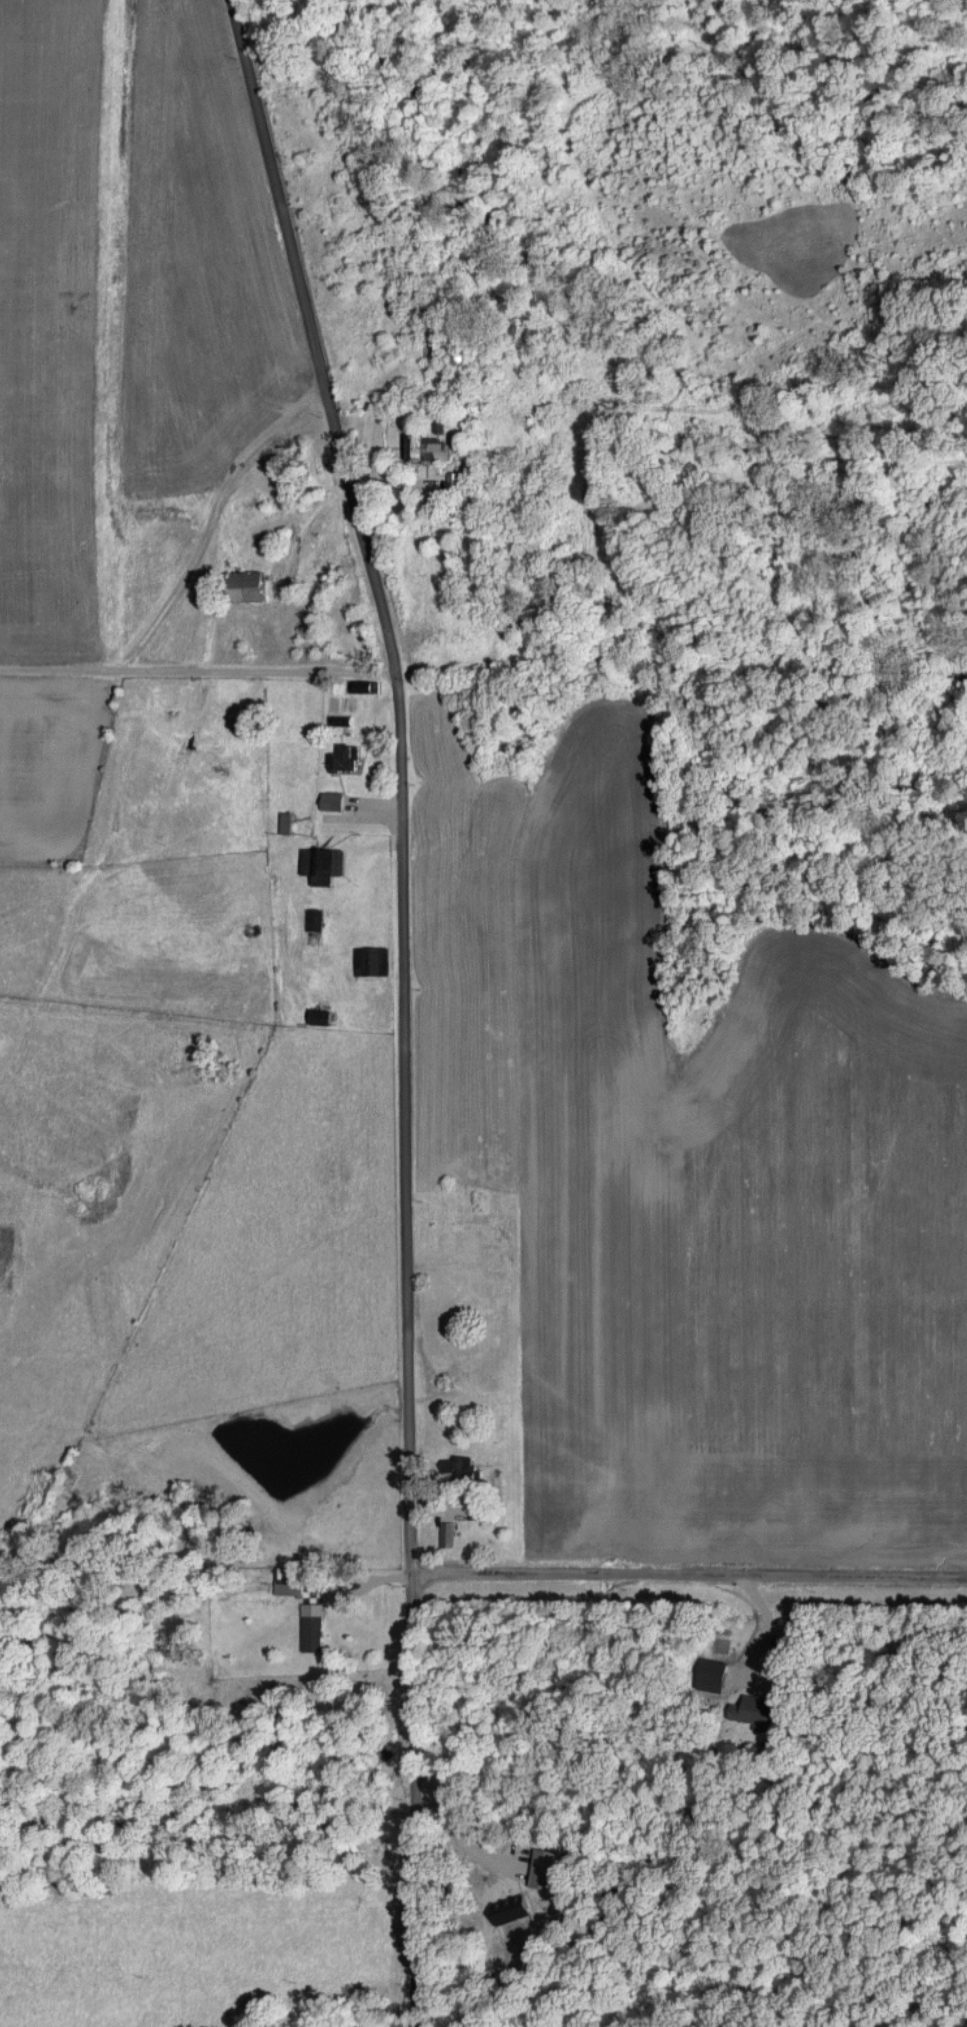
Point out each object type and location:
road: (212, 517)
building: (242, 586)
road: (199, 667)
building: (344, 751)
building: (331, 800)
building: (322, 861)
building: (372, 960)
road: (403, 1002)
building: (467, 1468)
road: (687, 1571)
building: (312, 1632)
building: (755, 1711)
road: (458, 1831)

